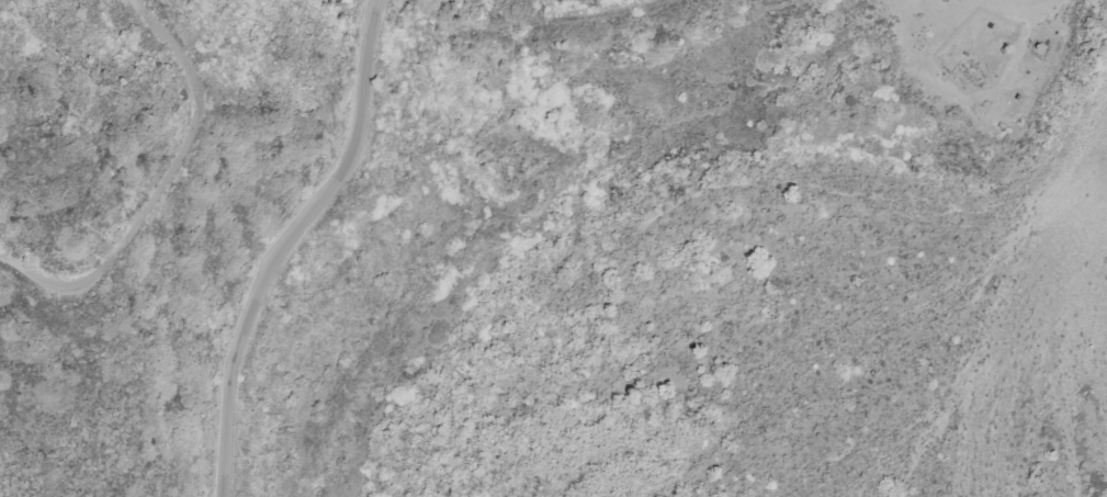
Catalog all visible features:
road: (298, 246)

